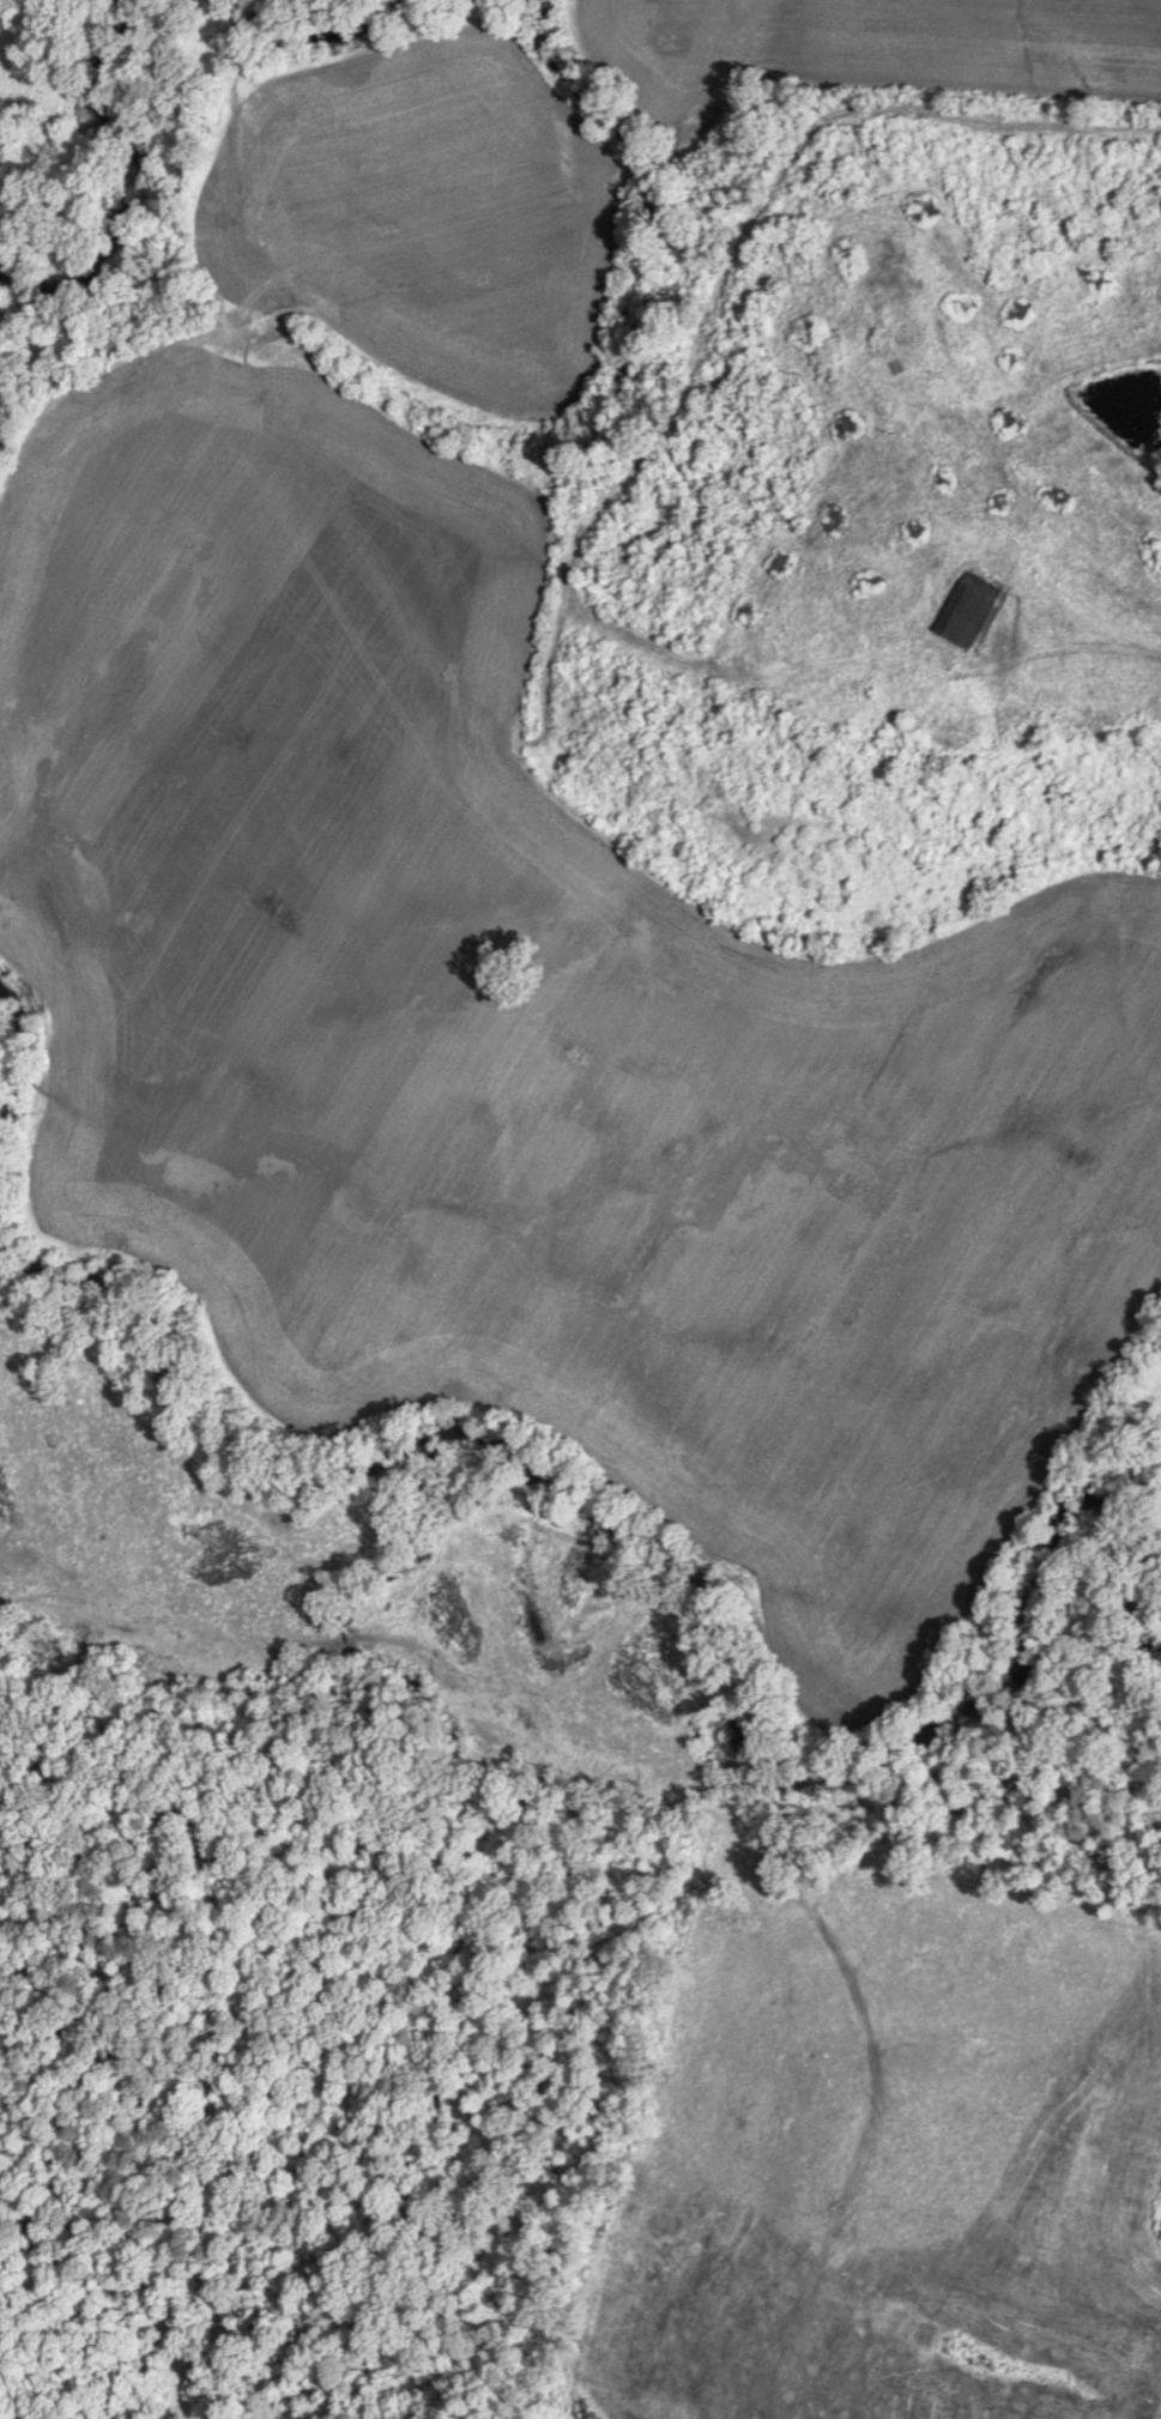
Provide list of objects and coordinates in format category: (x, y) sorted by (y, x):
building: (968, 613)
park: (1130, 1522)

